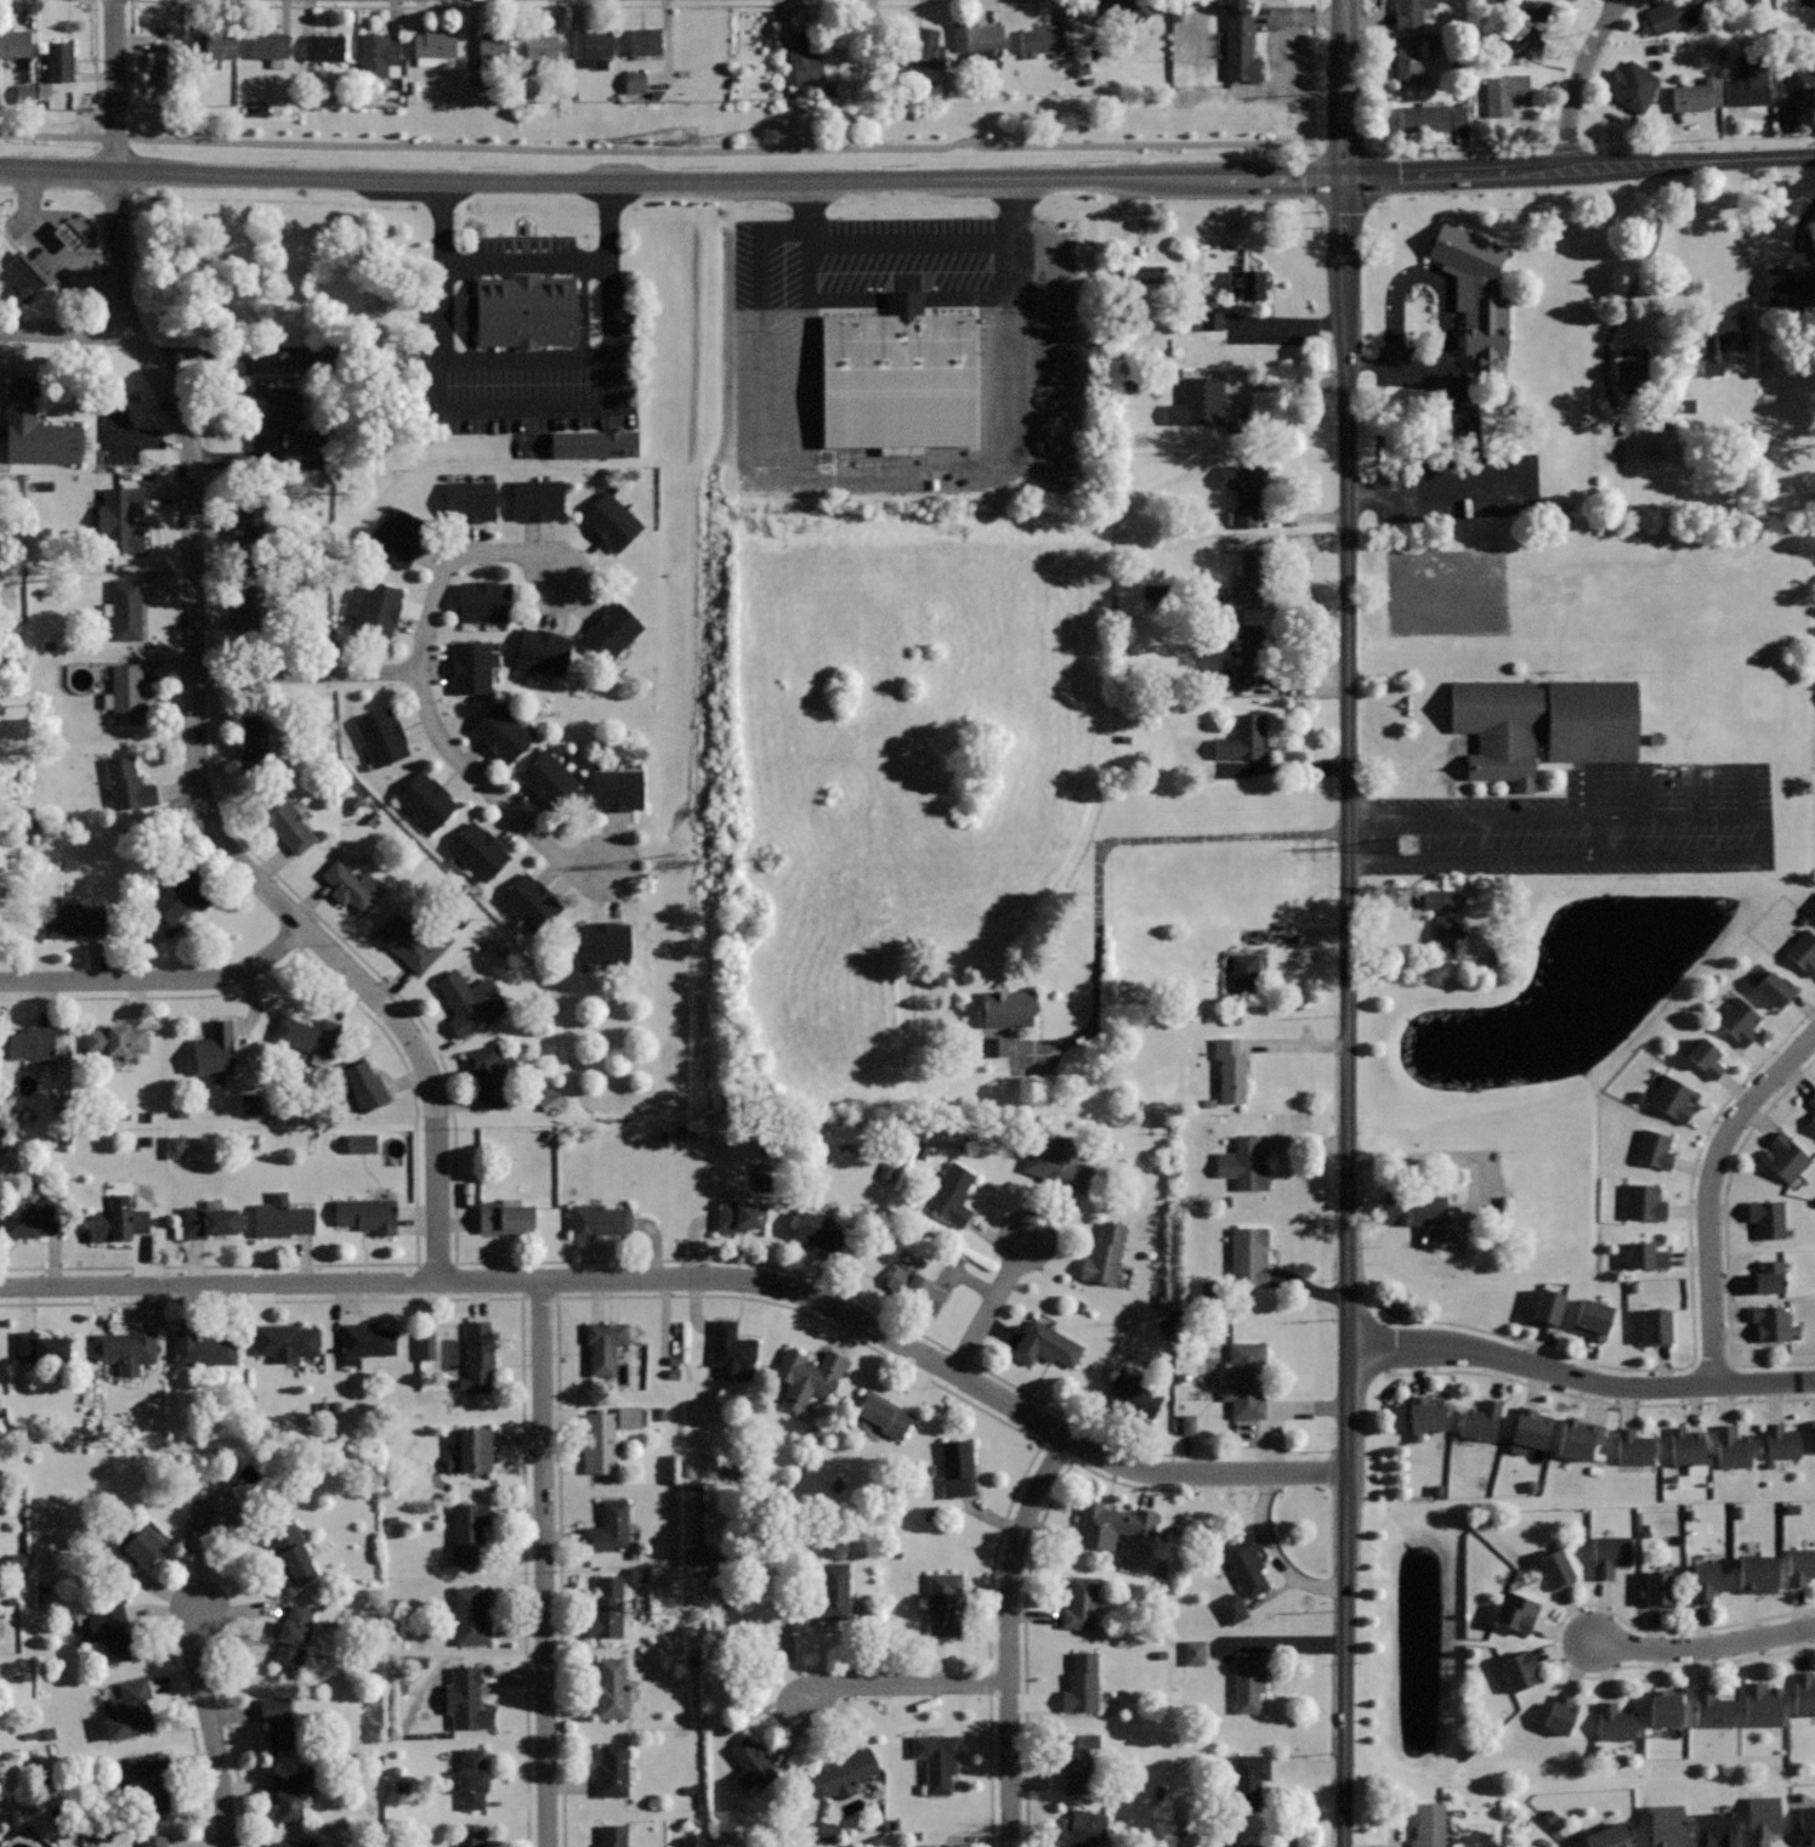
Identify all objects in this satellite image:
building: (1753, 1)
building: (1807, 1)
road: (544, 6)
building: (1107, 9)
building: (1411, 11)
building: (1672, 13)
building: (1531, 28)
building: (976, 34)
building: (646, 40)
building: (15, 41)
building: (1043, 41)
building: (1236, 43)
road: (92, 44)
building: (215, 45)
building: (271, 45)
building: (324, 46)
building: (435, 46)
building: (541, 46)
building: (594, 46)
building: (924, 49)
building: (494, 50)
road: (129, 52)
building: (379, 53)
building: (805, 58)
building: (1408, 58)
building: (61, 61)
road: (1316, 70)
building: (168, 75)
road: (1579, 78)
building: (631, 83)
building: (1748, 83)
building: (1630, 85)
building: (1798, 85)
building: (1505, 92)
building: (22, 94)
building: (1696, 94)
building: (1434, 117)
power tower: (765, 136)
power tower: (687, 138)
road: (674, 149)
road: (907, 181)
building: (64, 236)
road: (907, 237)
road: (1742, 250)
road: (528, 262)
building: (1145, 273)
building: (22, 276)
building: (1247, 282)
building: (1791, 287)
building: (1475, 293)
building: (526, 310)
building: (465, 311)
road: (1436, 317)
building: (1208, 321)
road: (64, 329)
parking lot: (523, 333)
building: (1714, 340)
parking lot: (906, 352)
road: (528, 355)
road: (1372, 361)
building: (1629, 367)
building: (898, 375)
parking lot: (1423, 395)
building: (1199, 402)
road: (529, 410)
building: (274, 412)
building: (38, 431)
building: (1139, 440)
building: (590, 443)
road: (908, 472)
road: (1442, 488)
building: (1246, 489)
building: (537, 499)
building: (471, 500)
road: (208, 517)
building: (120, 519)
building: (250, 519)
building: (612, 521)
building: (401, 538)
road: (454, 561)
building: (1248, 580)
building: (484, 601)
building: (250, 606)
building: (127, 607)
building: (375, 610)
building: (612, 631)
building: (543, 651)
building: (1248, 651)
building: (472, 667)
road: (307, 673)
road: (194, 675)
building: (129, 695)
building: (1544, 723)
building: (504, 730)
building: (382, 736)
building: (1243, 740)
building: (256, 744)
building: (551, 777)
building: (127, 789)
road: (490, 789)
building: (618, 791)
building: (426, 800)
building: (288, 822)
parking lot: (1586, 822)
road: (1758, 838)
power tower: (1410, 840)
building: (480, 850)
road: (1102, 850)
power tower: (764, 856)
power tower: (679, 860)
building: (351, 884)
building: (177, 899)
building: (533, 903)
building: (1814, 906)
building: (73, 918)
building: (1444, 918)
road: (1348, 923)
building: (414, 937)
building: (606, 944)
building: (1803, 951)
building: (1246, 974)
road: (159, 978)
building: (1776, 988)
building: (470, 1001)
building: (1009, 1007)
building: (1739, 1019)
building: (307, 1033)
building: (115, 1038)
building: (32, 1042)
building: (993, 1046)
building: (216, 1052)
building: (1706, 1056)
building: (1231, 1069)
building: (488, 1073)
building: (364, 1083)
building: (545, 1098)
building: (1673, 1098)
building: (1813, 1099)
building: (246, 1104)
building: (1811, 1120)
road: (414, 1139)
building: (357, 1143)
building: (172, 1145)
building: (1655, 1149)
building: (1785, 1157)
building: (1243, 1163)
building: (1059, 1165)
road: (454, 1189)
road: (1711, 1191)
building: (951, 1194)
building: (1644, 1202)
building: (1412, 1206)
building: (368, 1213)
building: (738, 1214)
building: (280, 1216)
building: (506, 1216)
building: (33, 1218)
building: (208, 1218)
building: (1768, 1218)
building: (599, 1219)
building: (117, 1222)
building: (819, 1231)
road: (1723, 1235)
building: (1105, 1253)
building: (1249, 1254)
building: (1646, 1254)
building: (1768, 1276)
road: (697, 1280)
building: (915, 1287)
road: (659, 1296)
road: (260, 1299)
road: (991, 1305)
building: (1548, 1308)
building: (1593, 1318)
road: (1691, 1320)
building: (1771, 1321)
building: (1656, 1327)
building: (287, 1339)
building: (365, 1341)
building: (605, 1344)
building: (1047, 1344)
building: (40, 1345)
building: (422, 1345)
building: (202, 1347)
building: (126, 1348)
building: (732, 1350)
road: (959, 1355)
building: (478, 1358)
building: (806, 1377)
road: (1579, 1377)
building: (1246, 1379)
building: (1130, 1398)
road: (1595, 1400)
building: (883, 1413)
road: (1067, 1413)
building: (1425, 1415)
building: (625, 1416)
building: (1481, 1420)
building: (1186, 1423)
building: (1531, 1427)
building: (1814, 1432)
building: (1578, 1438)
building: (1781, 1441)
building: (599, 1443)
building: (1634, 1446)
building: (1688, 1446)
building: (1731, 1446)
building: (475, 1447)
road: (1054, 1451)
building: (958, 1469)
road: (1169, 1472)
building: (221, 1511)
building: (1110, 1523)
building: (608, 1528)
building: (470, 1529)
building: (137, 1548)
building: (290, 1549)
building: (1610, 1554)
building: (1247, 1562)
road: (544, 1564)
building: (1800, 1565)
building: (1556, 1569)
road: (522, 1571)
building: (1759, 1574)
building: (1705, 1581)
building: (1660, 1588)
building: (833, 1592)
road: (1023, 1596)
power tower: (670, 1603)
building: (1081, 1603)
building: (943, 1605)
building: (608, 1608)
building: (1229, 1608)
building: (1516, 1611)
building: (471, 1614)
building: (110, 1630)
building: (291, 1634)
road: (1008, 1636)
road: (1553, 1638)
road: (1280, 1644)
road: (1703, 1645)
building: (1191, 1651)
building: (1519, 1670)
building: (1250, 1679)
building: (1082, 1683)
road: (902, 1685)
building: (613, 1688)
building: (1804, 1693)
building: (466, 1698)
building: (1763, 1705)
building: (1666, 1707)
building: (130, 1709)
building: (1713, 1709)
building: (1560, 1713)
building: (278, 1721)
building: (1615, 1722)
road: (209, 1726)
road: (191, 1733)
road: (228, 1744)
building: (1077, 1761)
building: (941, 1762)
building: (751, 1764)
building: (613, 1769)
building: (845, 1772)
road: (987, 1772)
building: (152, 1777)
building: (471, 1777)
building: (1250, 1779)
building: (291, 1790)
building: (1760, 1819)
building: (1430, 1825)
building: (1663, 1825)
building: (1805, 1828)
building: (1087, 1829)
building: (1713, 1829)
building: (824, 1831)
building: (613, 1835)
building: (1610, 1836)
building: (470, 1837)
building: (155, 1840)
building: (296, 1842)
building: (1247, 1845)
building: (937, 1846)

